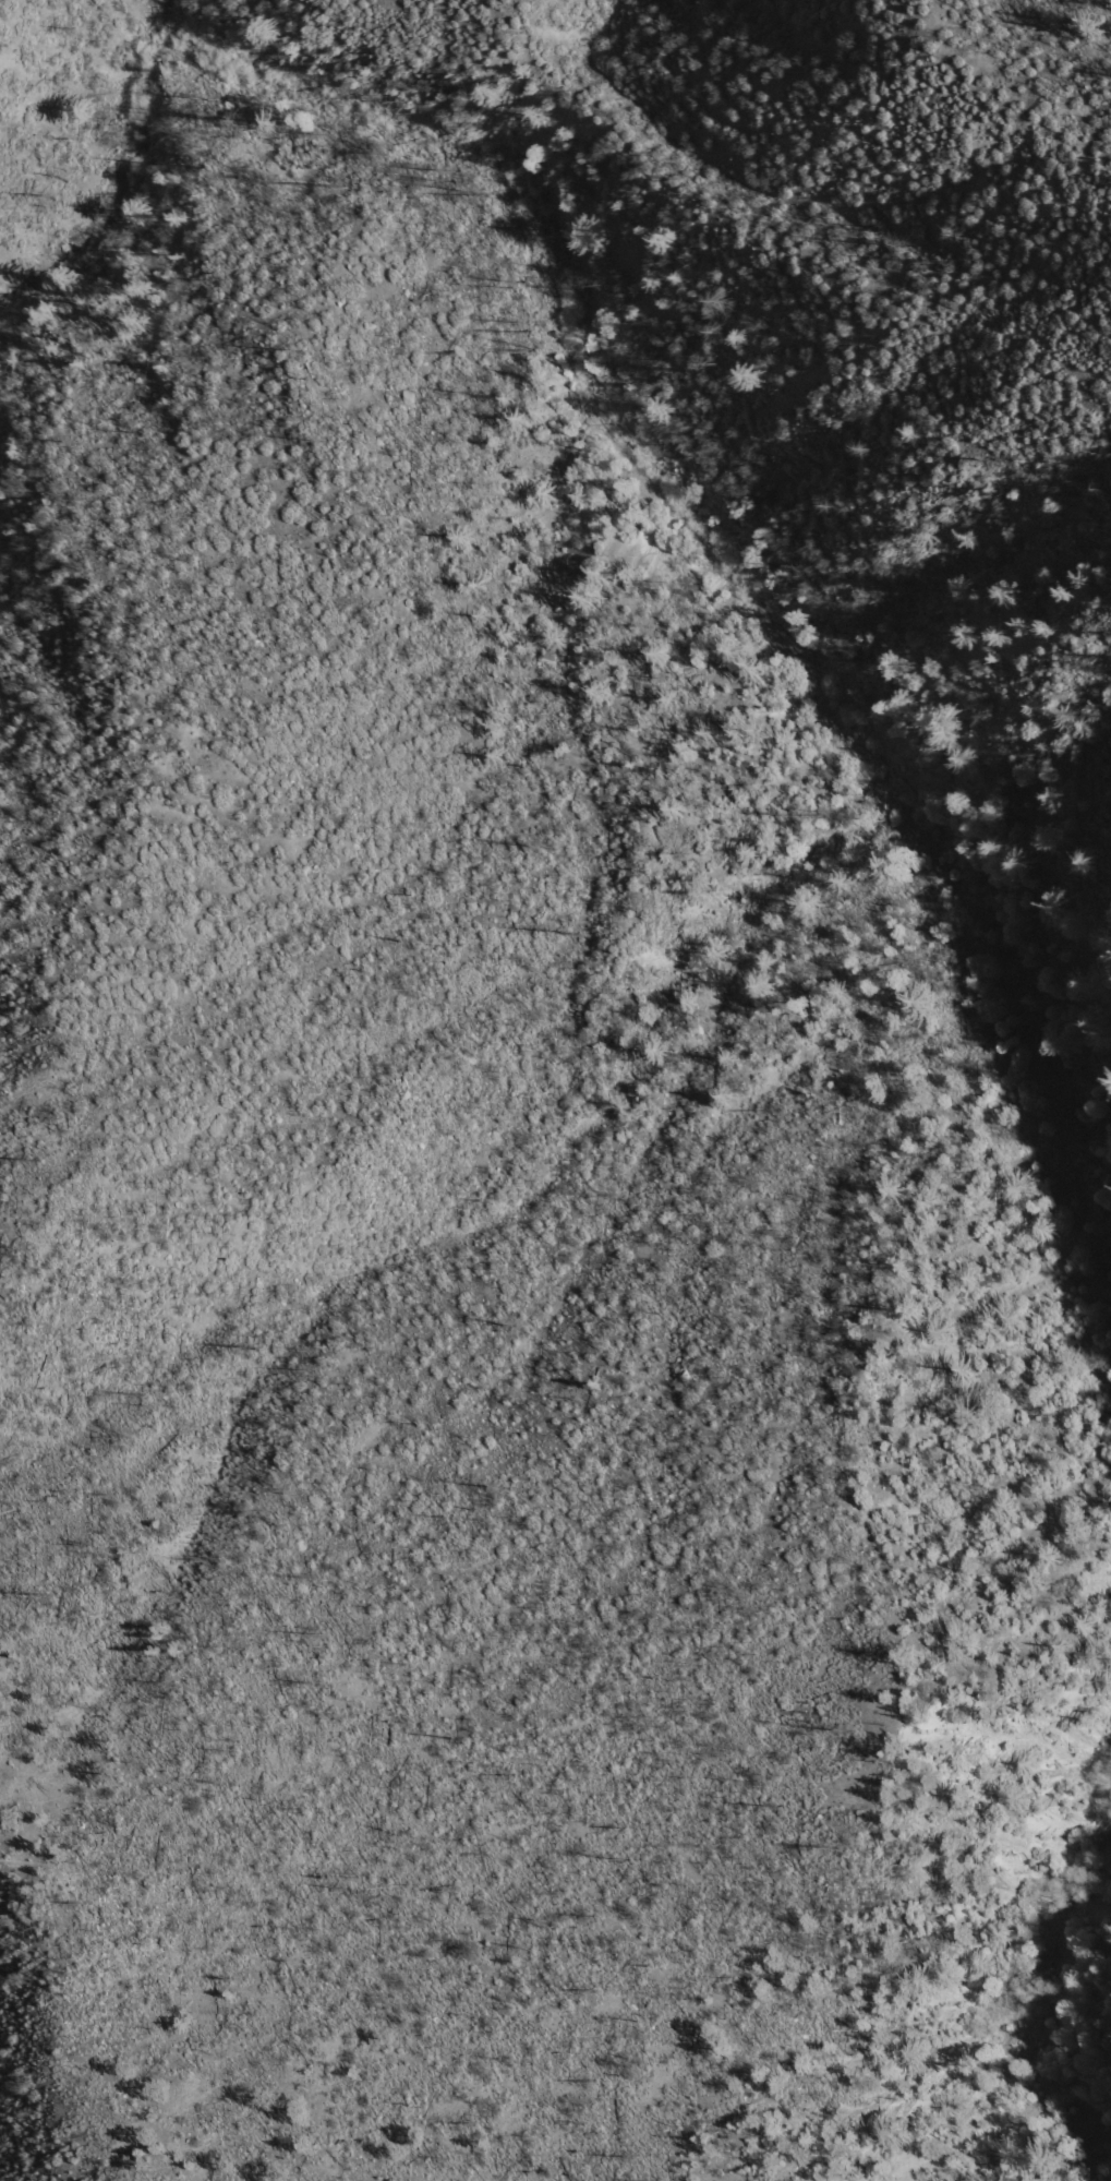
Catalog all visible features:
road: (149, 2006)

